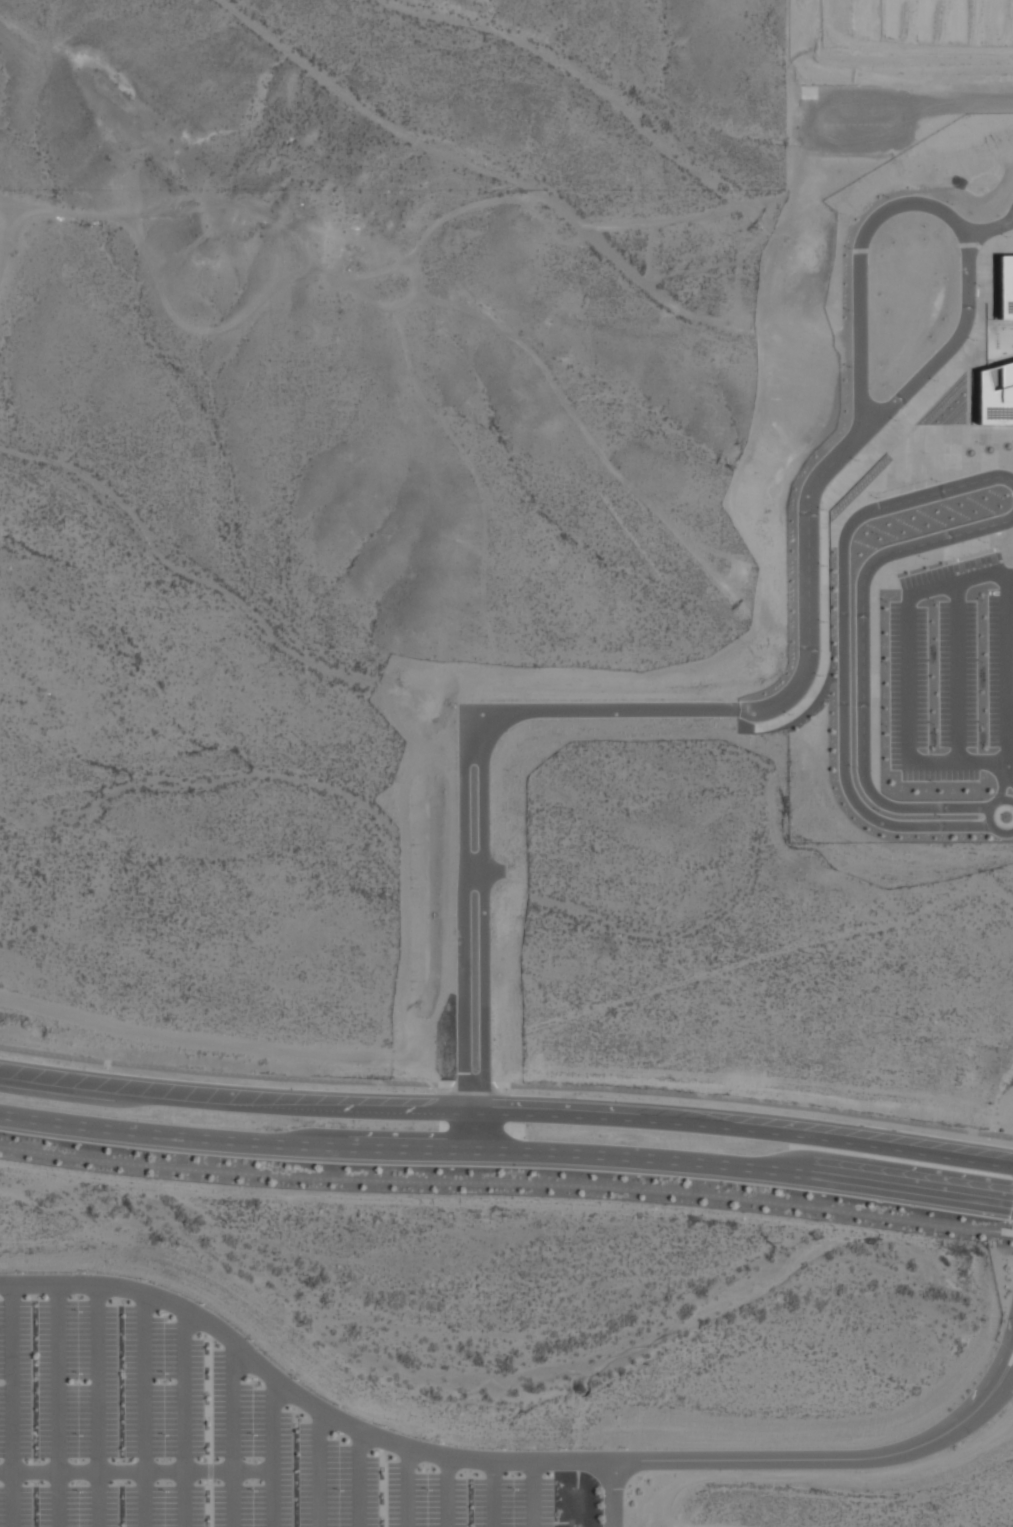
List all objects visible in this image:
road: (991, 221)
road: (862, 269)
building: (1004, 288)
building: (995, 395)
road: (715, 702)
road: (853, 762)
road: (507, 1085)
road: (507, 1102)
road: (507, 1152)
road: (506, 1184)
road: (1003, 1360)
road: (55, 1377)
road: (98, 1378)
road: (1003, 1379)
road: (143, 1381)
road: (183, 1390)
road: (11, 1405)
road: (232, 1407)
parking lot: (209, 1440)
road: (272, 1451)
road: (484, 1461)
road: (321, 1468)
road: (136, 1472)
road: (363, 1480)
road: (406, 1487)
road: (448, 1493)
road: (498, 1494)
road: (536, 1496)
road: (56, 1499)
road: (97, 1499)
road: (144, 1499)
road: (184, 1499)
road: (233, 1499)
road: (616, 1499)

